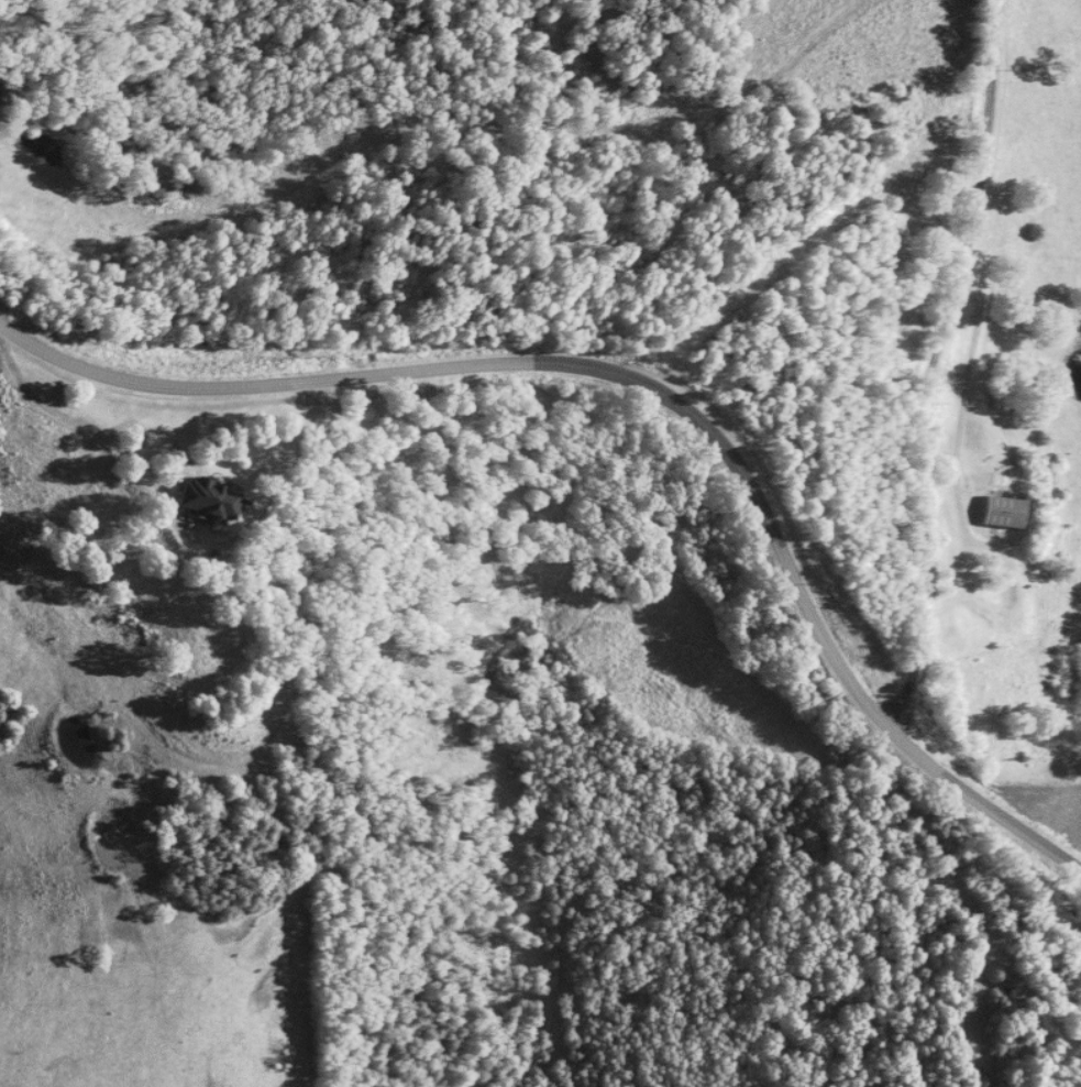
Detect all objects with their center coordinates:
road: (935, 365)
road: (649, 383)
building: (207, 498)
building: (1002, 510)
road: (167, 512)

